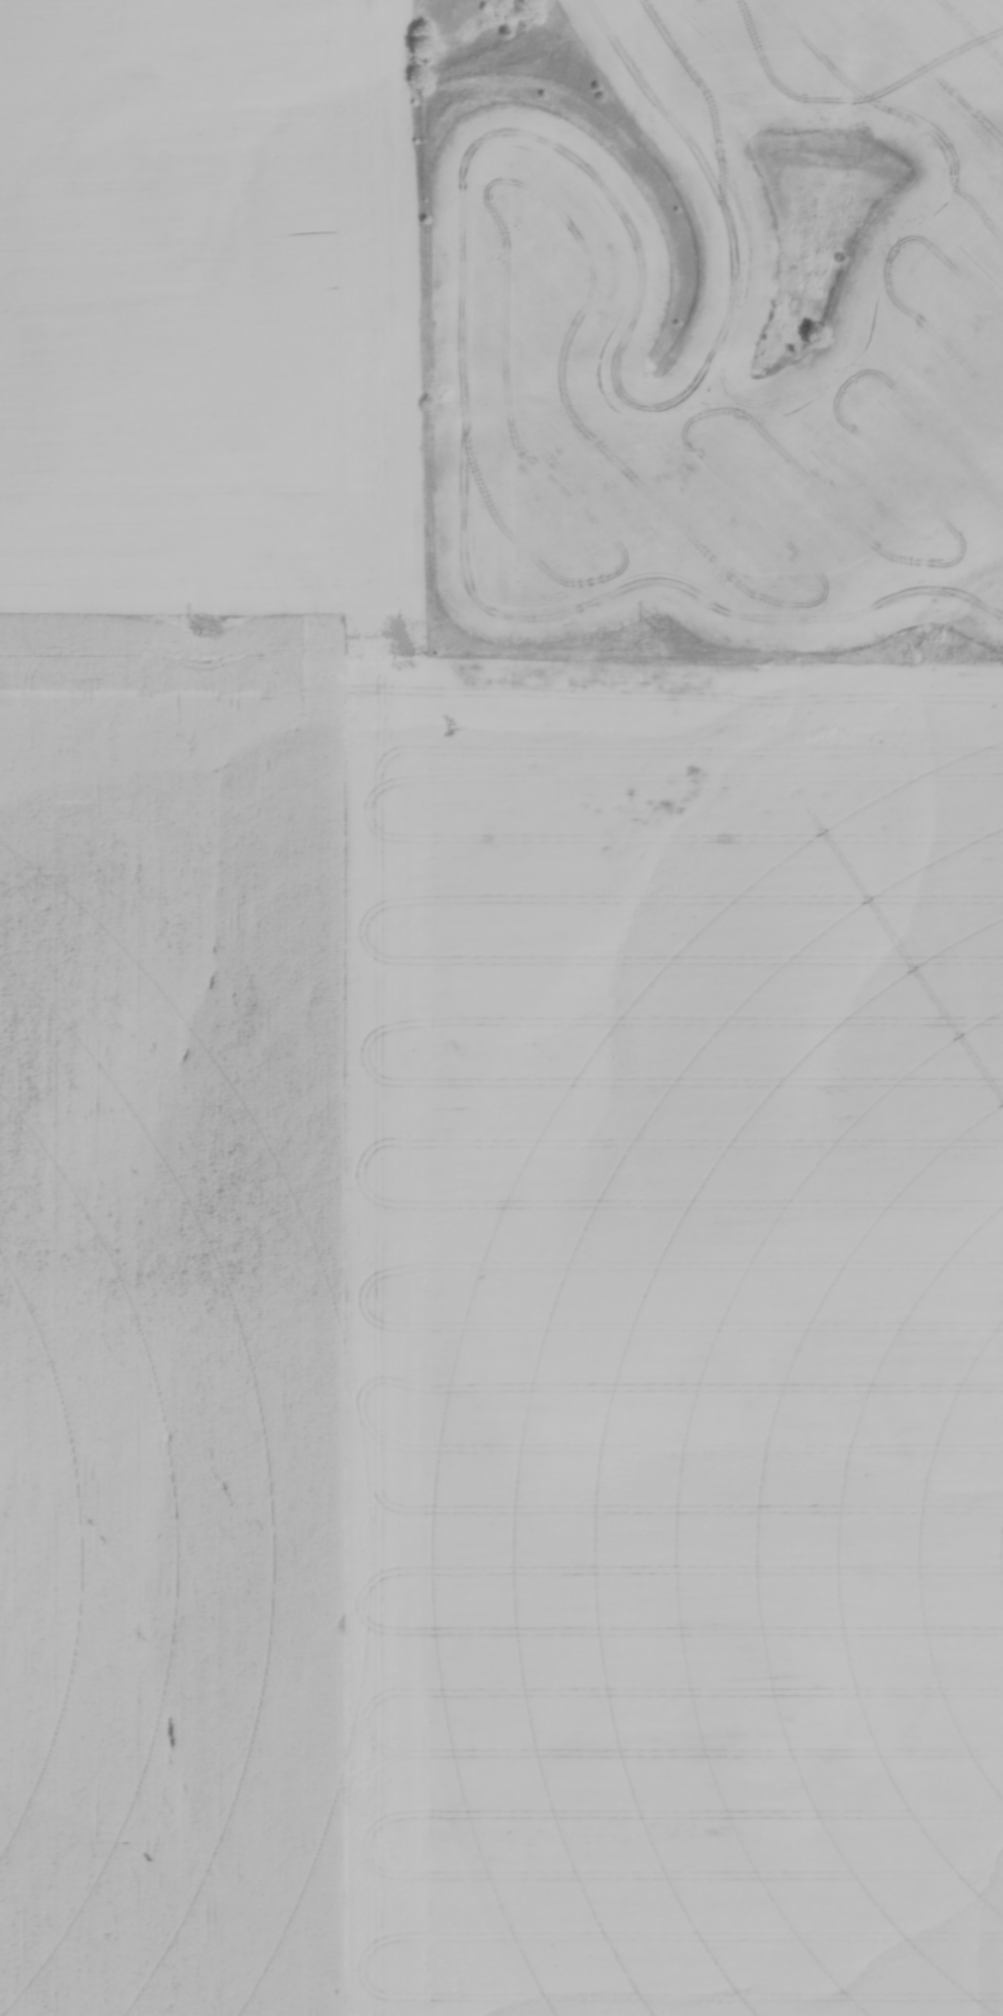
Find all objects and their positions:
power tower: (653, 619)
power tower: (198, 620)

